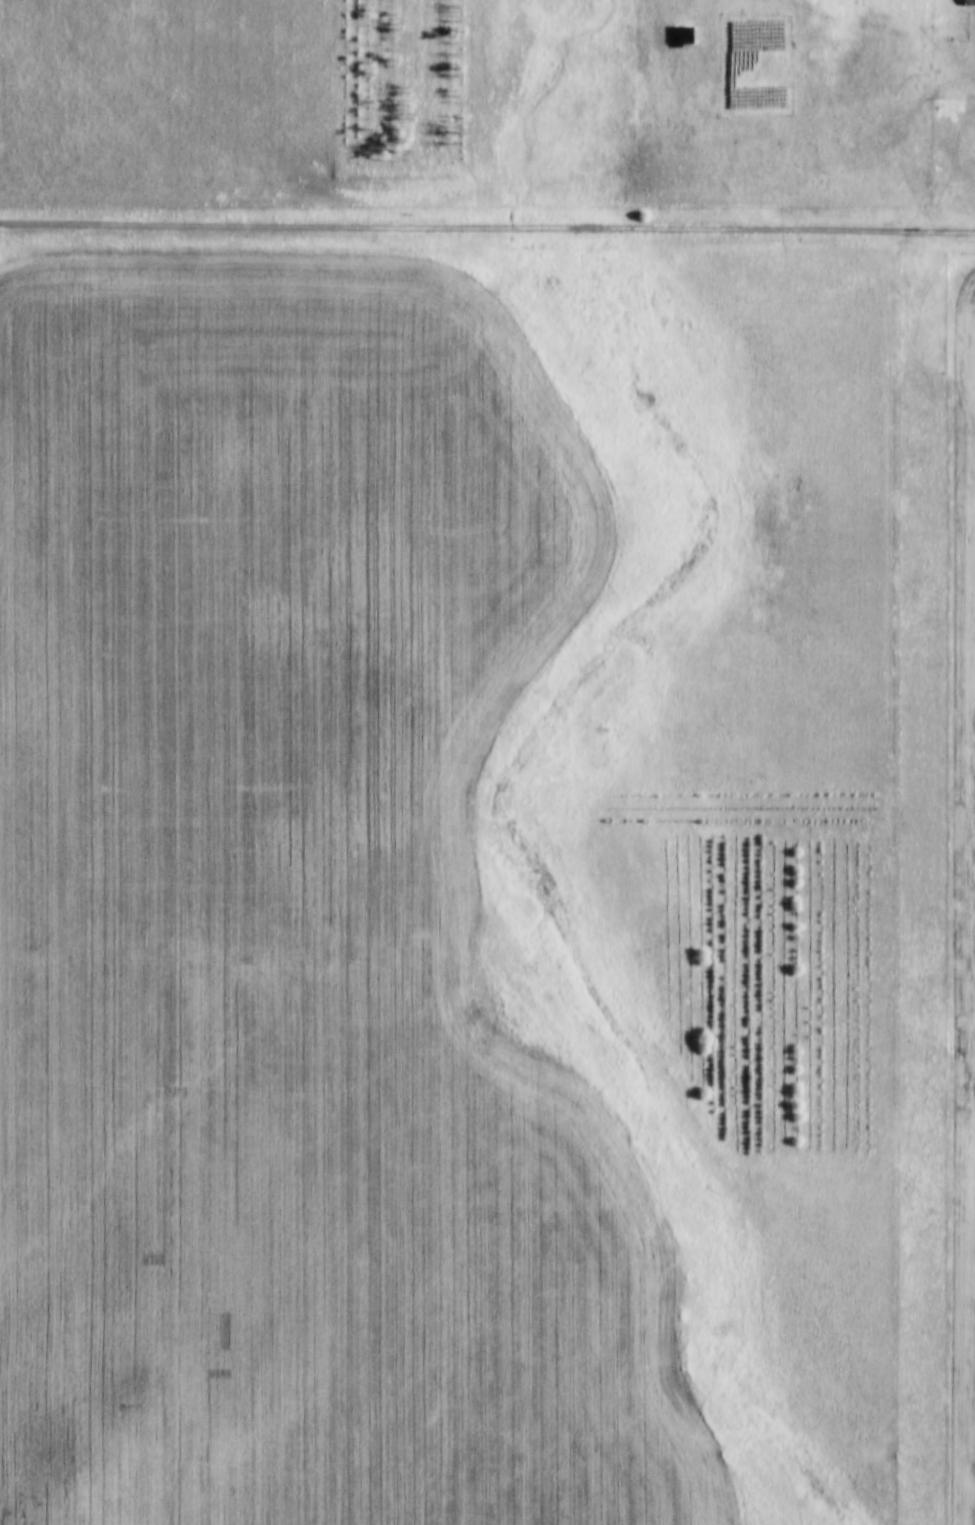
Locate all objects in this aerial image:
building: (963, 1)
building: (677, 25)
building: (669, 33)
road: (487, 231)

